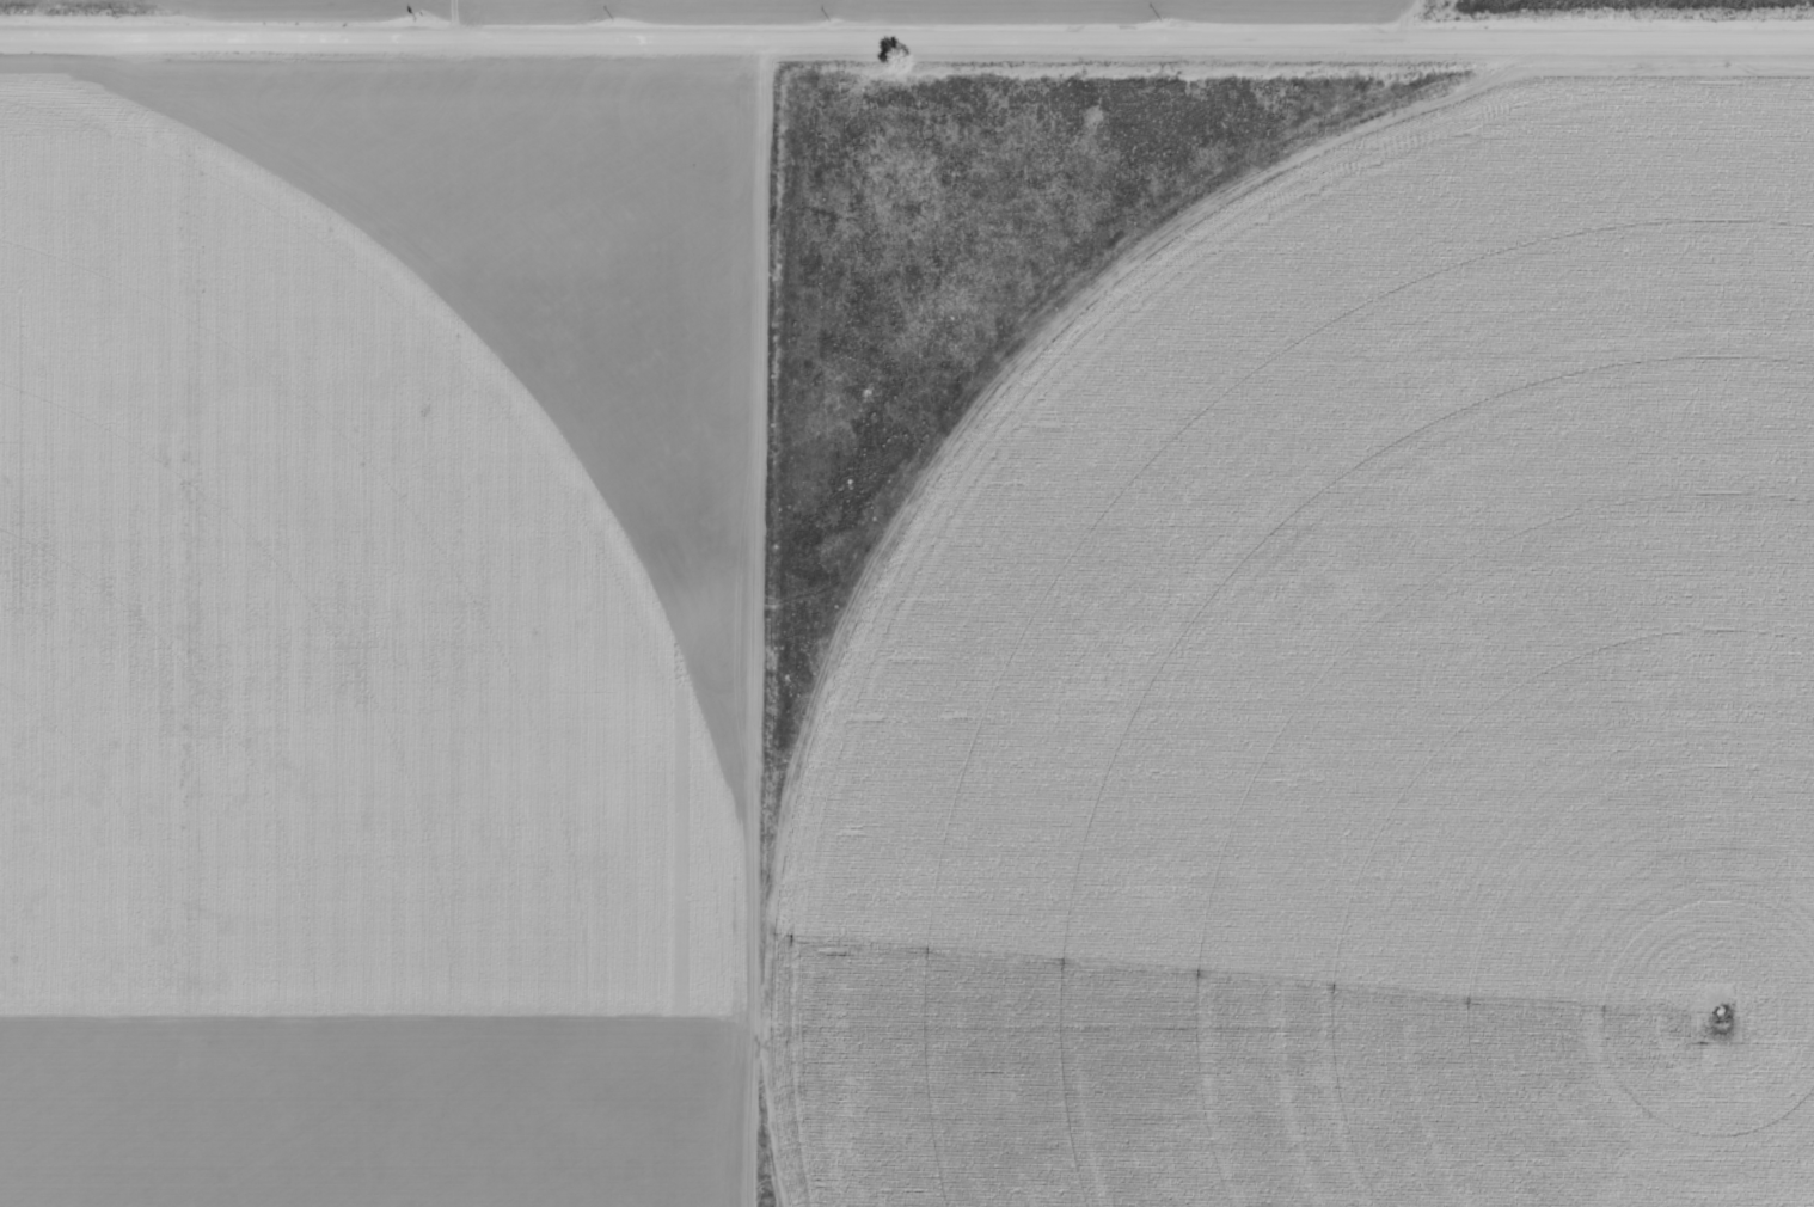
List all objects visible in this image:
road: (907, 7)

